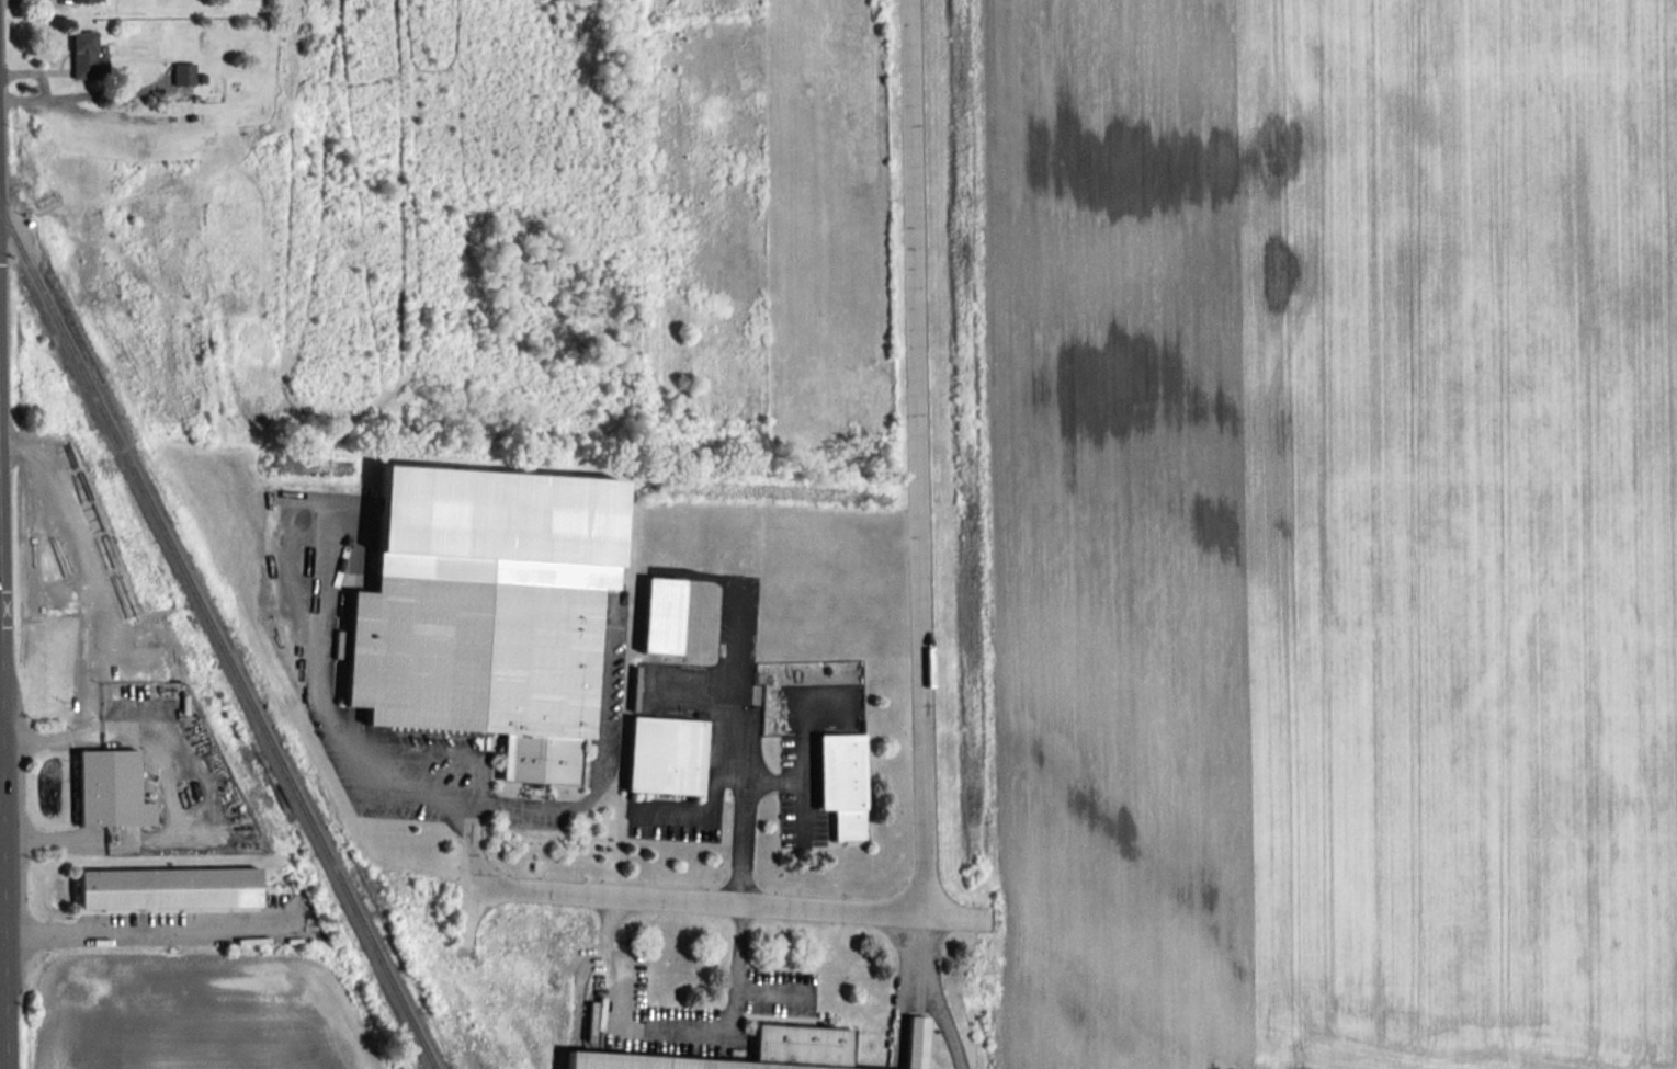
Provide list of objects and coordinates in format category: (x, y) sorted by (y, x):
building: (82, 0)
building: (87, 56)
building: (183, 72)
road: (37, 87)
road: (921, 457)
building: (487, 609)
building: (660, 614)
railway: (225, 638)
parking lot: (808, 751)
road: (359, 754)
building: (665, 754)
parking lot: (473, 755)
road: (1, 771)
building: (841, 782)
building: (110, 788)
road: (745, 795)
parking lot: (675, 817)
road: (5, 855)
building: (169, 887)
road: (711, 901)
road: (147, 930)
road: (936, 993)
road: (671, 1030)
building: (801, 1038)
building: (915, 1042)

